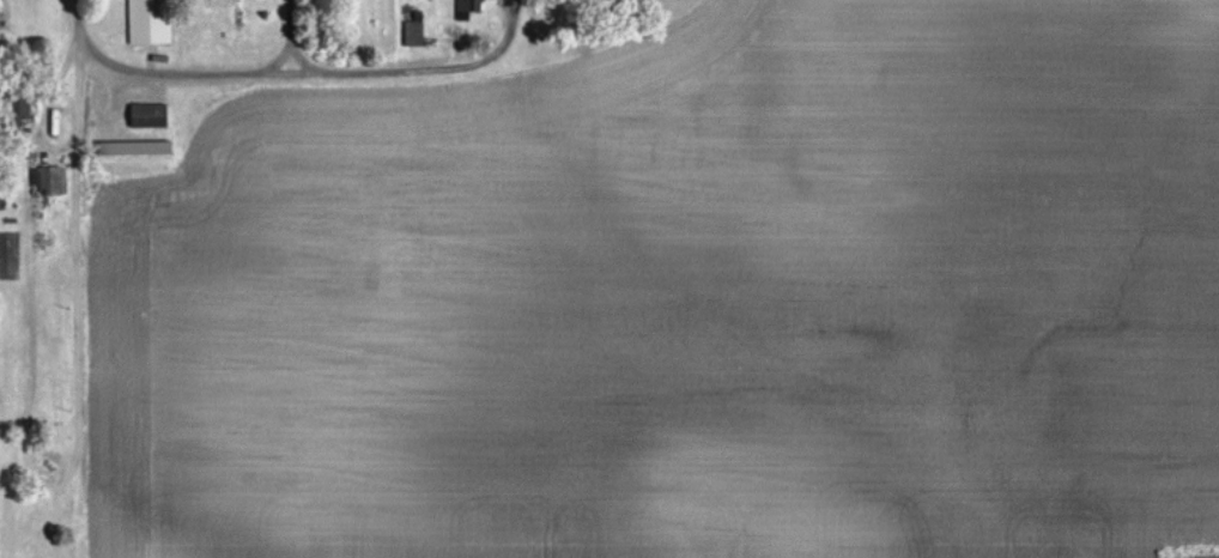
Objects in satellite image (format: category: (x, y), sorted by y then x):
building: (467, 8)
building: (147, 23)
road: (78, 26)
road: (510, 29)
building: (413, 35)
road: (292, 36)
road: (289, 73)
building: (18, 109)
building: (146, 116)
building: (134, 148)
building: (49, 182)
road: (72, 298)

